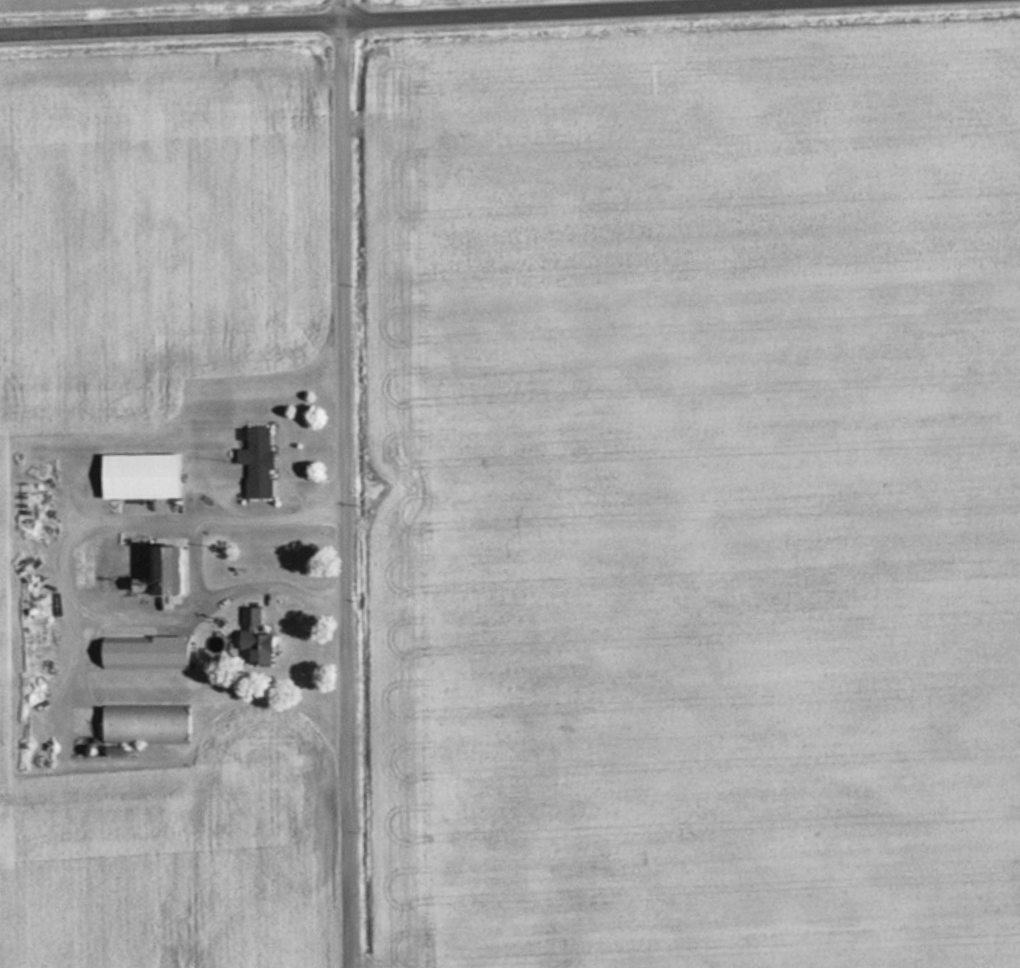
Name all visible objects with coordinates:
road: (415, 18)
building: (255, 461)
building: (135, 475)
road: (352, 483)
building: (158, 568)
building: (242, 642)
building: (141, 654)
building: (144, 725)

